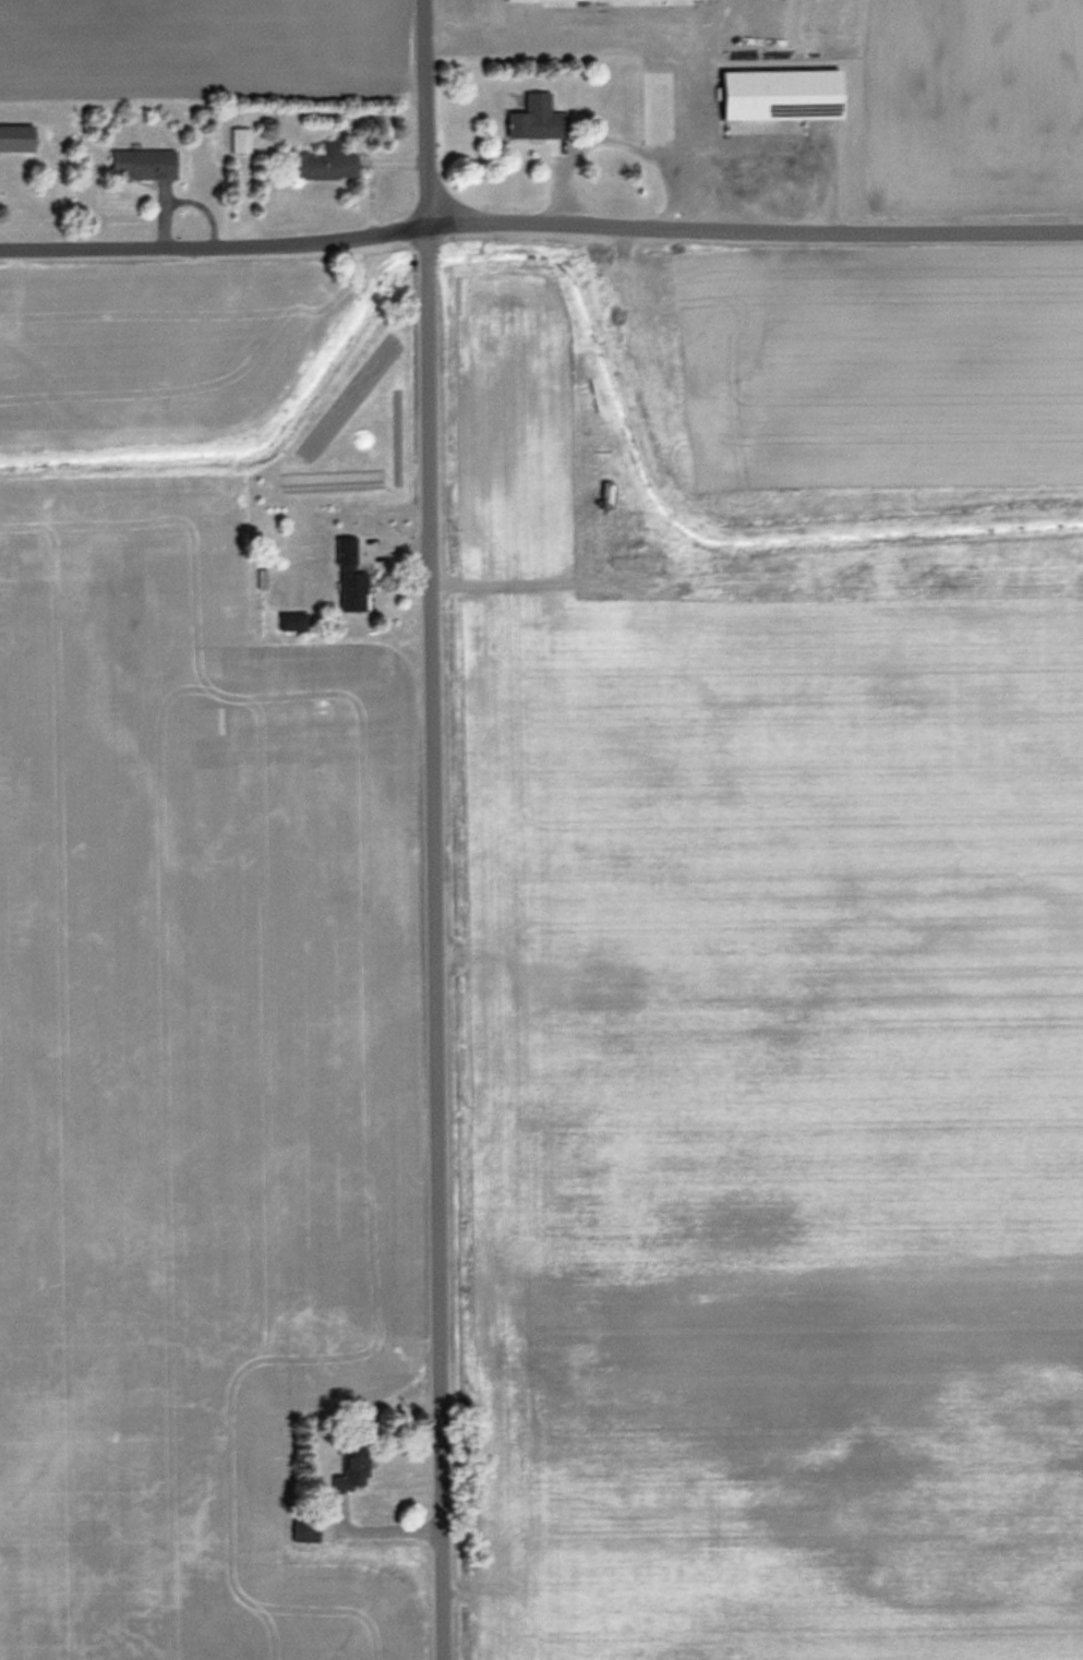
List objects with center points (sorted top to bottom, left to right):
building: (785, 94)
building: (657, 106)
building: (539, 118)
building: (17, 137)
road: (618, 142)
building: (146, 163)
building: (328, 163)
road: (540, 221)
building: (605, 519)
building: (351, 575)
building: (293, 620)
building: (587, 627)
road: (434, 829)
building: (353, 1469)

